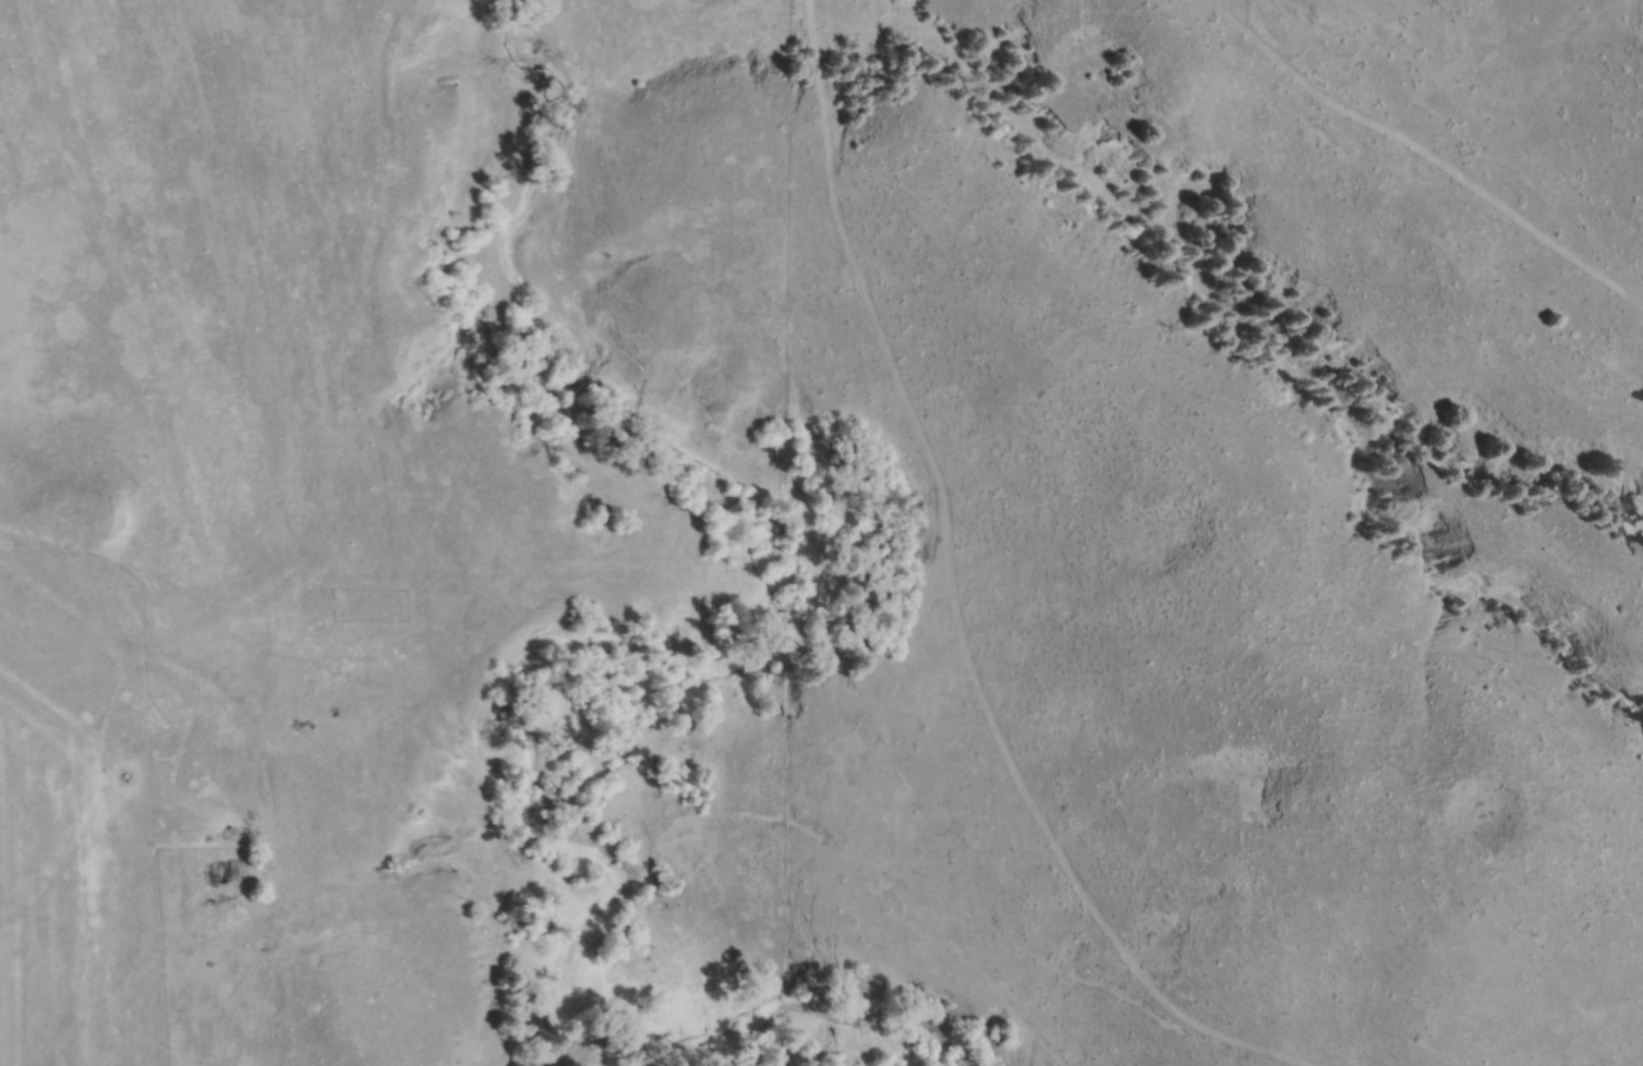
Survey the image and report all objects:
building: (222, 871)

